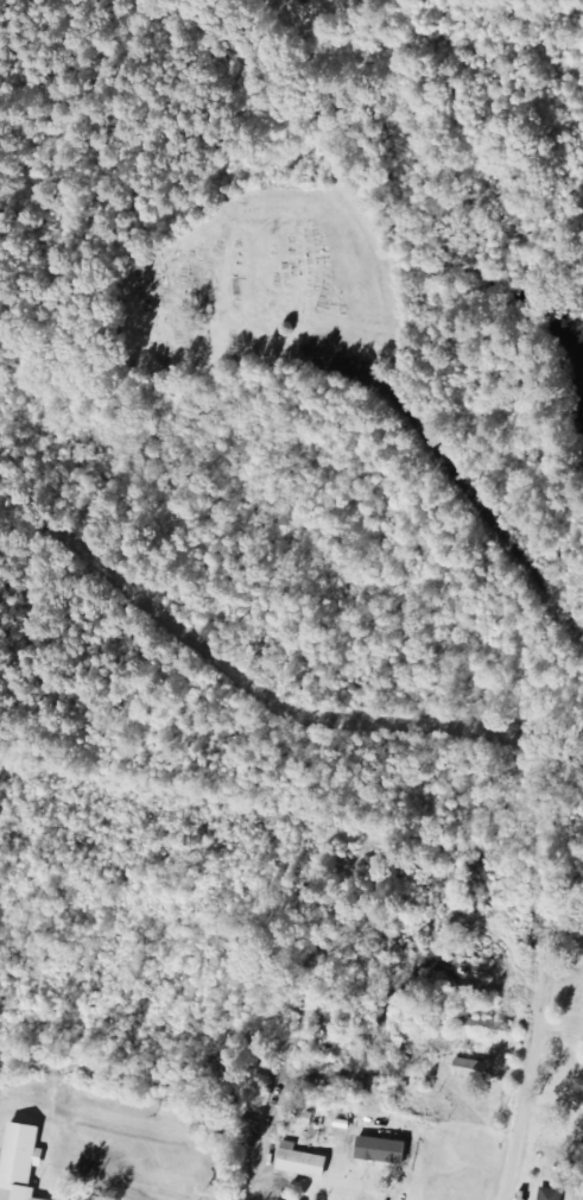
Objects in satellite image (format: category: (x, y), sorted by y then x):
park: (254, 277)
road: (480, 523)
building: (476, 1069)
road: (525, 1084)
building: (386, 1150)
road: (89, 1152)
building: (25, 1162)
building: (305, 1162)
building: (551, 1194)

